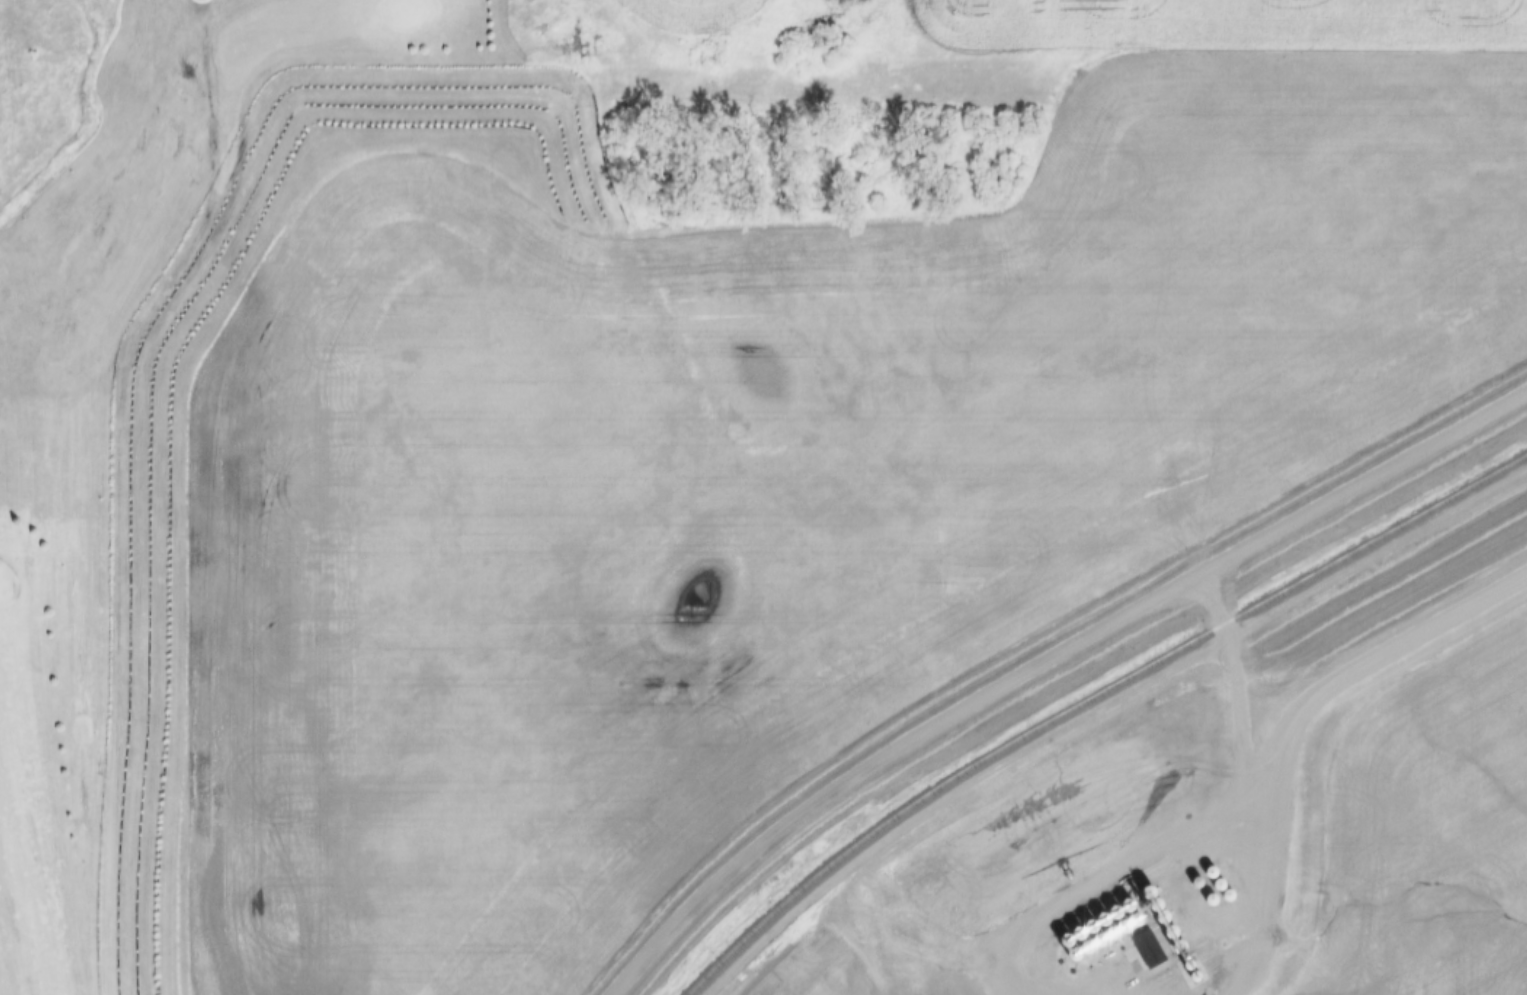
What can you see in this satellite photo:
park: (111, 371)
road: (1047, 660)
railway: (1090, 700)

